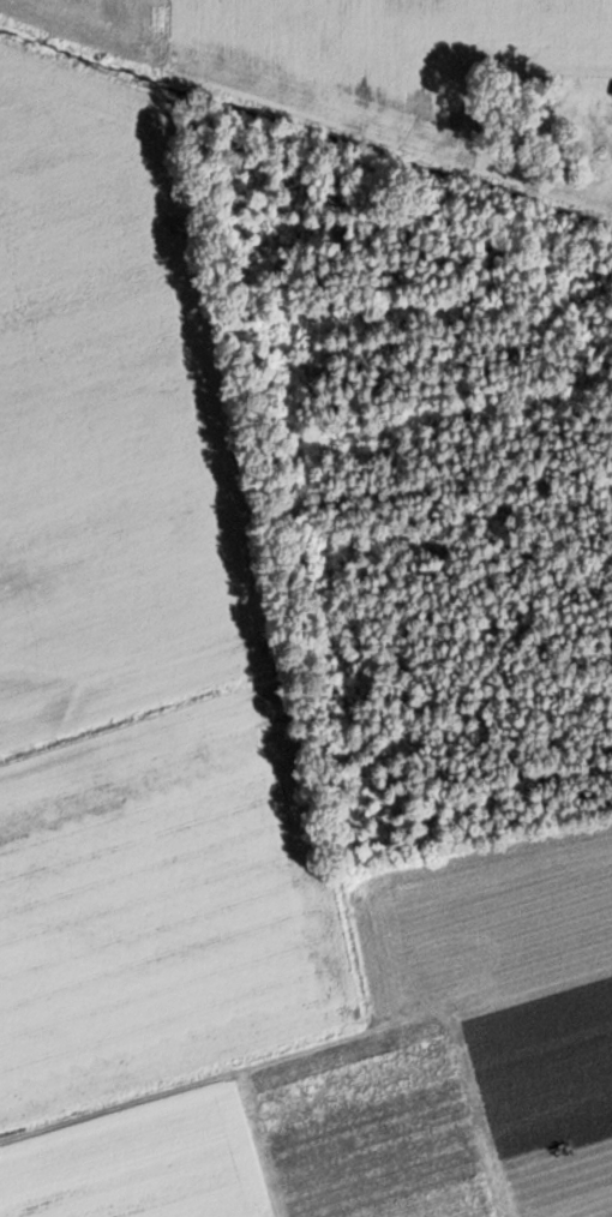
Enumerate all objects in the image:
road: (565, 1203)

